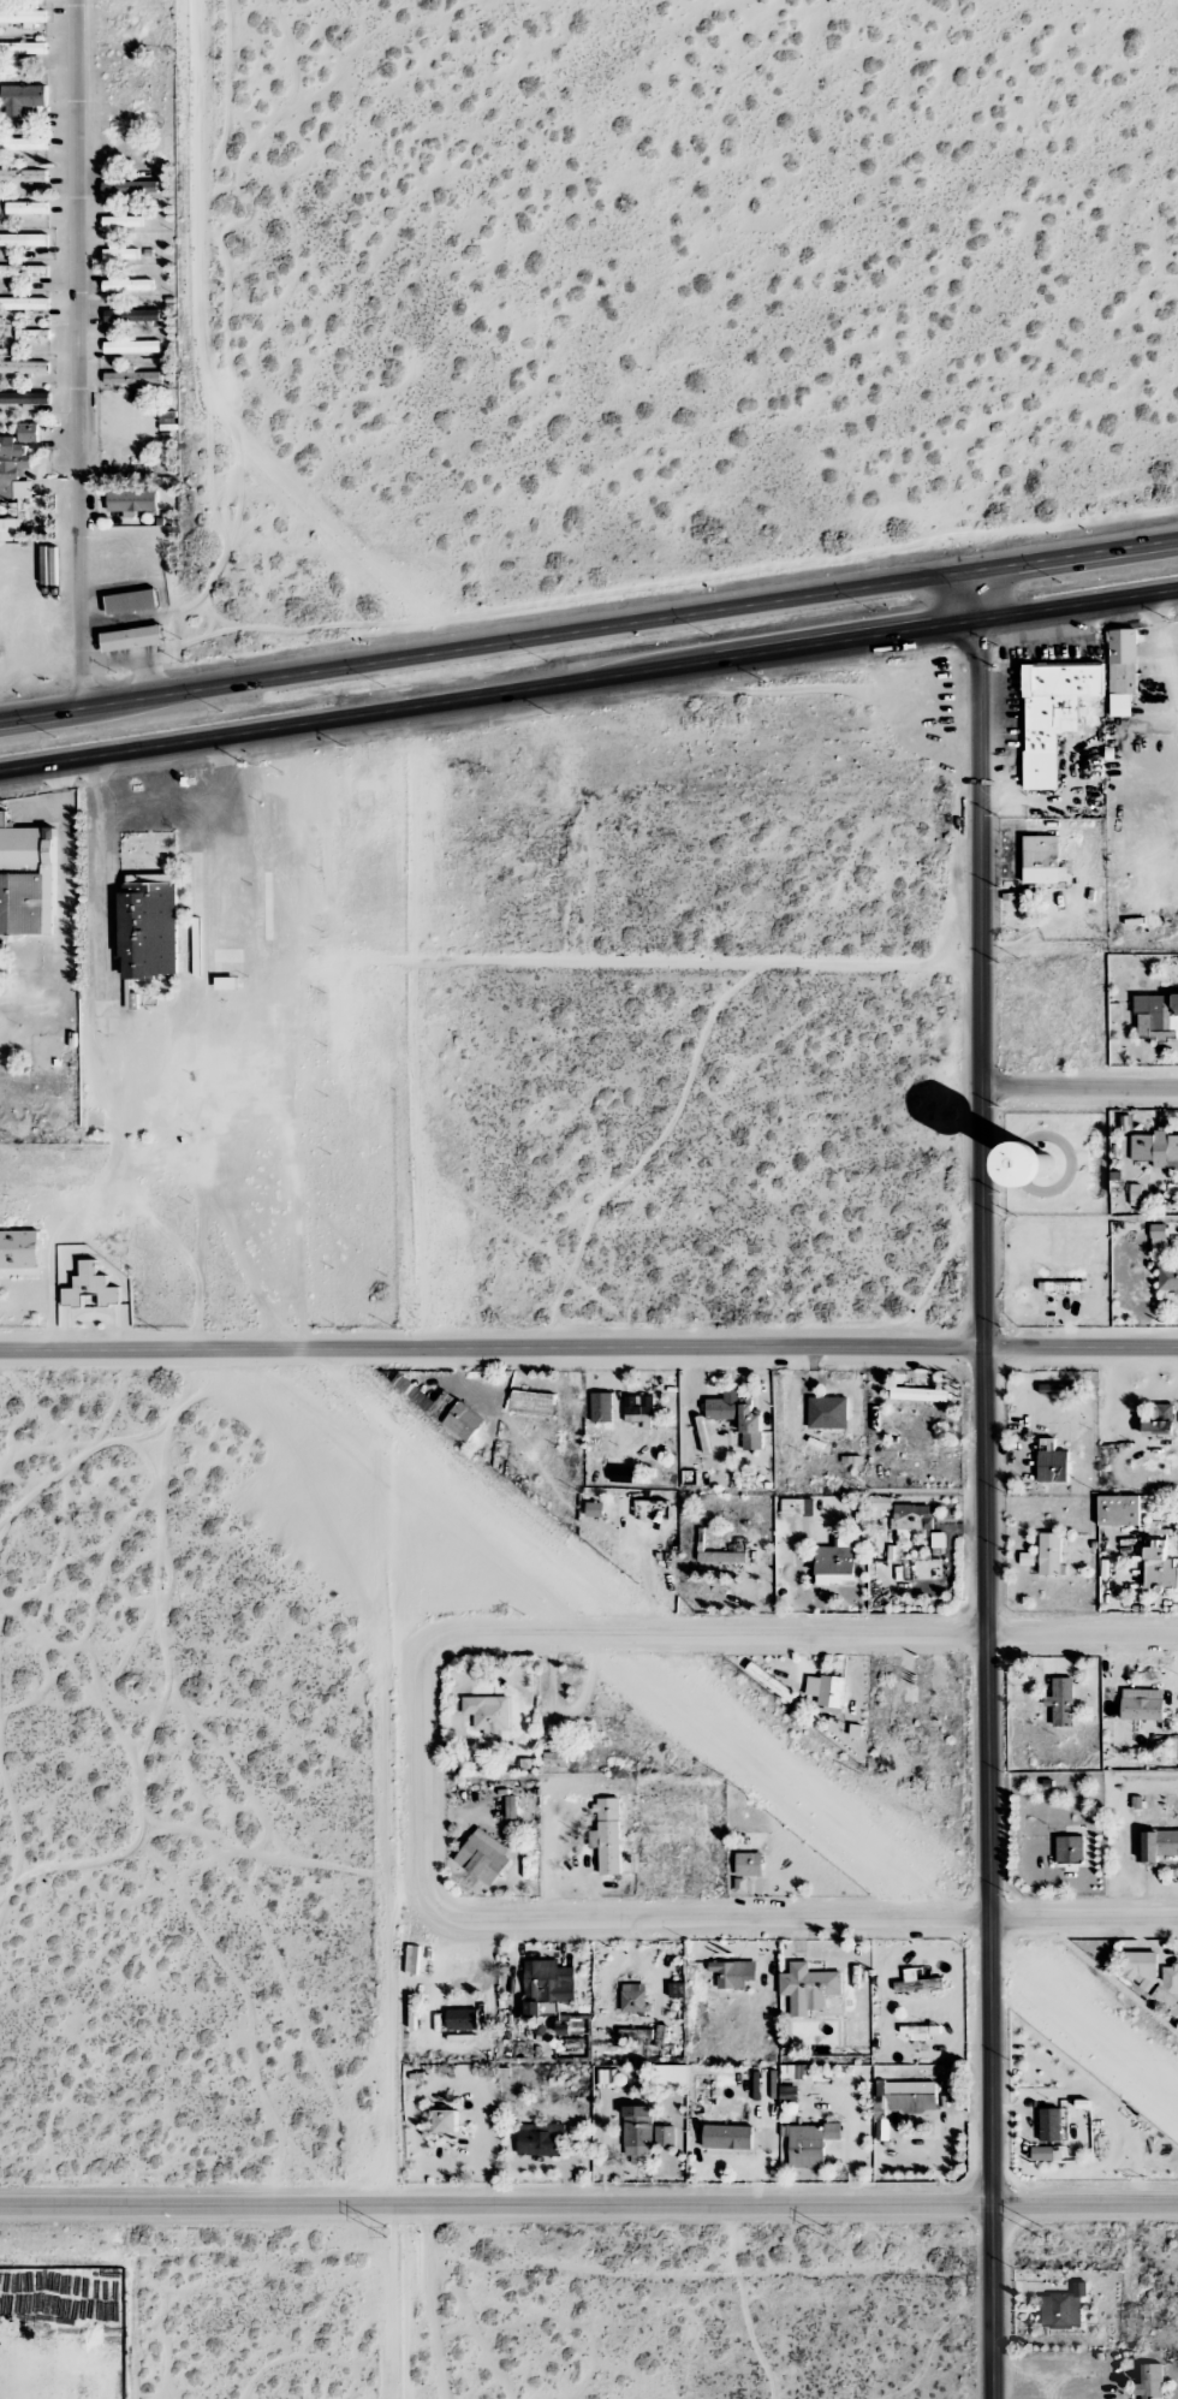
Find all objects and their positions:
building: (22, 17)
building: (22, 48)
building: (22, 97)
building: (25, 144)
building: (23, 176)
building: (130, 188)
building: (26, 208)
building: (123, 221)
building: (23, 239)
building: (121, 253)
building: (23, 271)
building: (127, 285)
building: (23, 303)
building: (131, 315)
building: (32, 334)
building: (132, 346)
road: (79, 355)
building: (23, 367)
building: (132, 378)
building: (24, 398)
building: (28, 433)
building: (12, 470)
building: (131, 501)
building: (8, 530)
building: (131, 601)
road: (588, 630)
building: (133, 639)
building: (1122, 671)
road: (588, 683)
building: (1053, 714)
building: (1041, 860)
building: (28, 880)
road: (65, 903)
building: (149, 925)
building: (1, 962)
building: (132, 1000)
building: (1156, 1016)
road: (153, 1034)
road: (1079, 1089)
building: (1155, 1147)
building: (1042, 1164)
water tower: (1041, 1166)
building: (1136, 1195)
building: (1159, 1239)
building: (19, 1249)
building: (1168, 1278)
building: (1059, 1287)
building: (90, 1288)
road: (588, 1356)
building: (918, 1395)
building: (534, 1397)
building: (724, 1406)
building: (602, 1407)
building: (444, 1409)
building: (638, 1409)
building: (1158, 1419)
building: (751, 1429)
building: (1052, 1466)
road: (986, 1484)
building: (881, 1504)
building: (797, 1507)
building: (594, 1509)
building: (1119, 1510)
building: (912, 1519)
building: (738, 1544)
building: (1051, 1555)
building: (722, 1557)
building: (835, 1563)
building: (1159, 1567)
road: (573, 1633)
road: (1083, 1637)
building: (774, 1685)
building: (827, 1691)
building: (1061, 1702)
building: (1142, 1704)
building: (488, 1714)
building: (555, 1757)
building: (511, 1813)
building: (607, 1836)
building: (1159, 1845)
building: (1070, 1851)
building: (484, 1857)
building: (749, 1865)
road: (805, 1920)
building: (730, 1975)
building: (1153, 1977)
building: (916, 1982)
building: (548, 1988)
building: (808, 1988)
building: (633, 1997)
building: (463, 2019)
building: (635, 2036)
building: (671, 2076)
building: (606, 2079)
building: (904, 2097)
building: (446, 2121)
building: (1051, 2125)
building: (637, 2134)
building: (665, 2137)
building: (727, 2137)
road: (397, 2139)
building: (541, 2140)
building: (810, 2144)
building: (1047, 2154)
road: (589, 2205)
building: (1063, 2308)
building: (1150, 2382)

